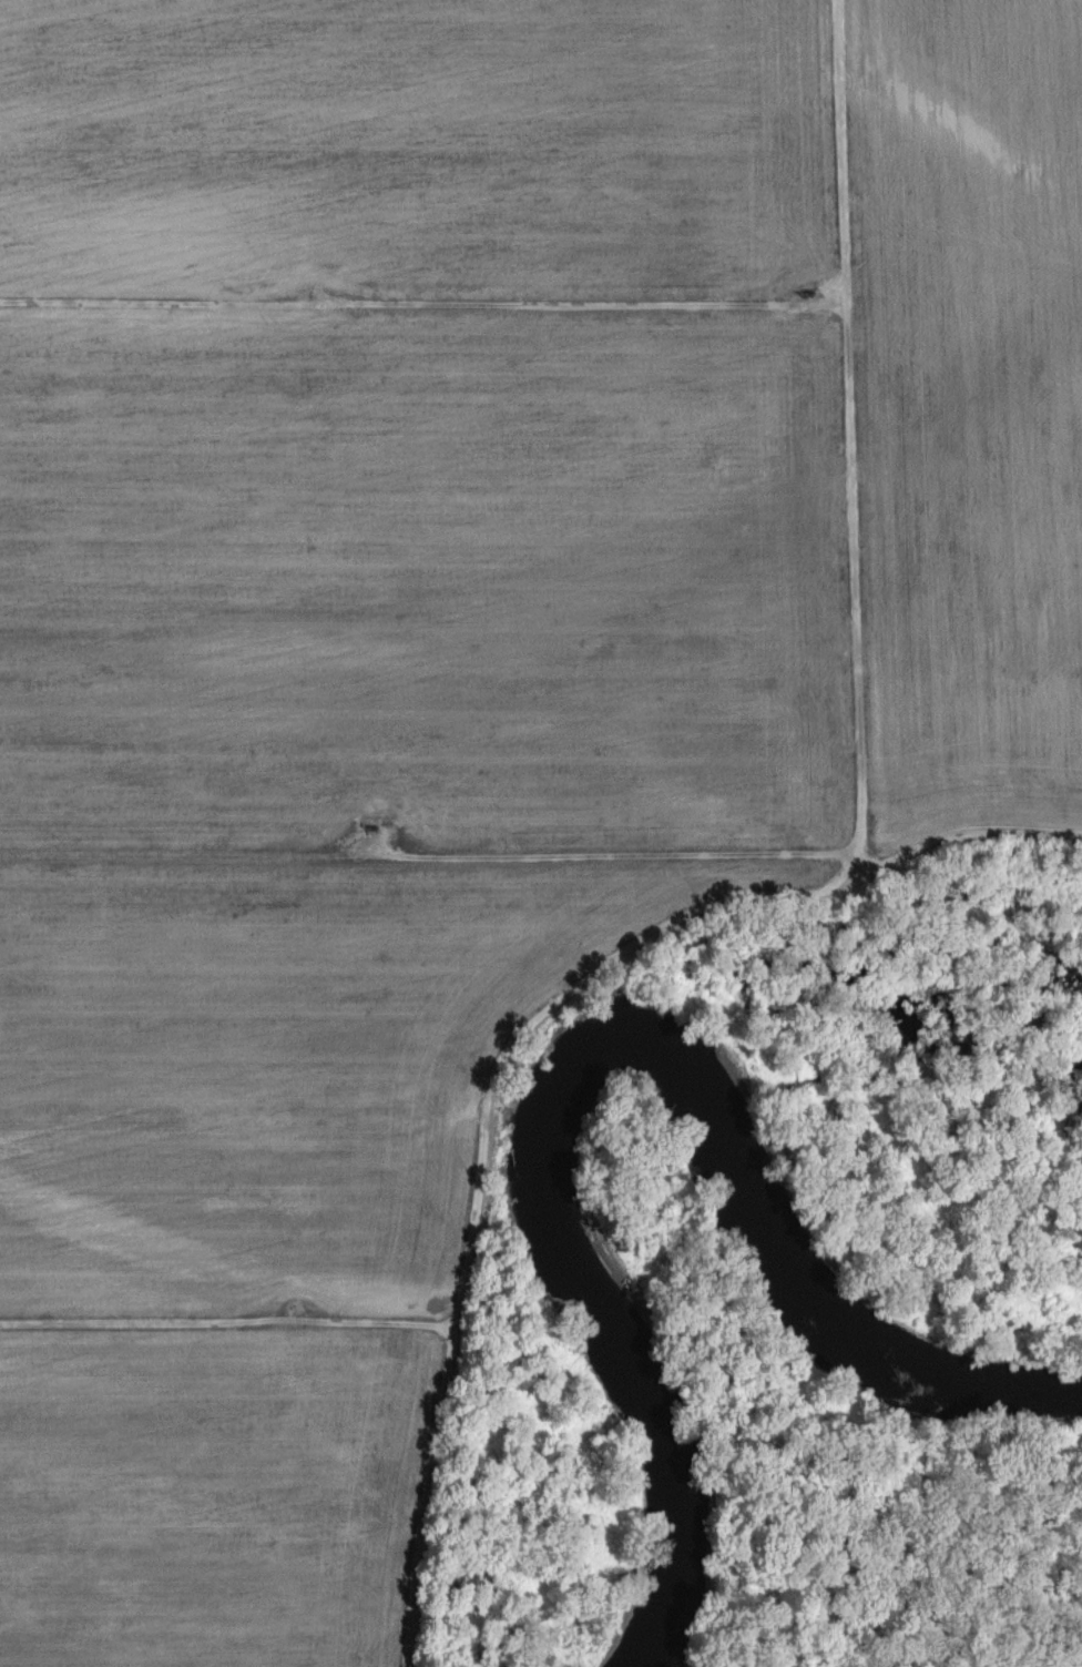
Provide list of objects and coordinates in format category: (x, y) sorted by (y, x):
road: (853, 425)
road: (964, 840)
road: (429, 858)
road: (561, 1003)
river: (604, 1046)
road: (228, 1322)
road: (431, 1496)

